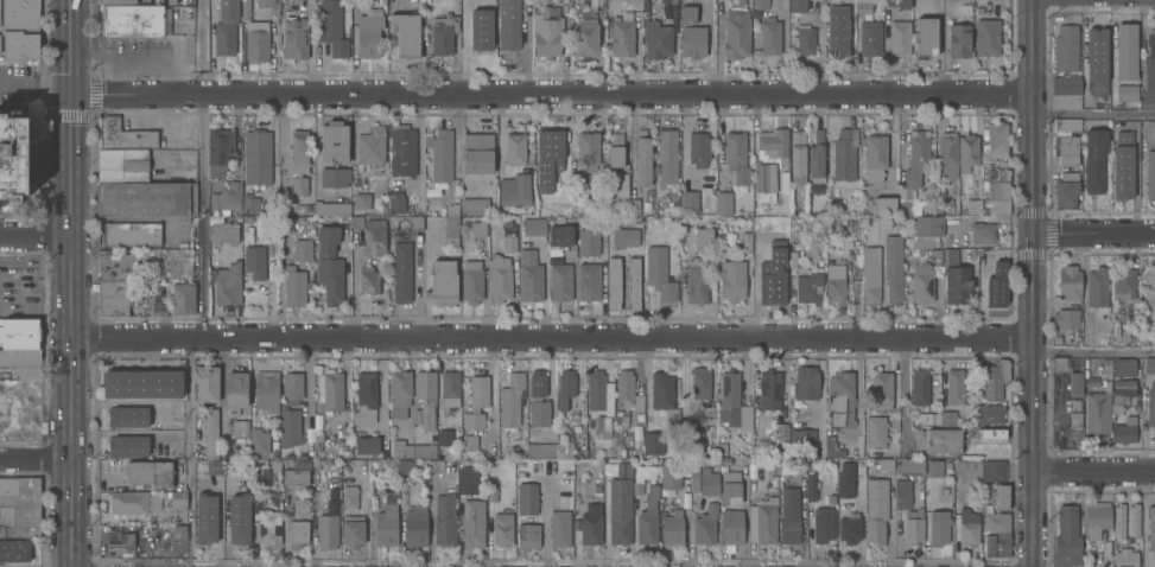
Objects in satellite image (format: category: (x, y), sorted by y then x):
building: (116, 1)
building: (453, 1)
building: (667, 1)
building: (189, 2)
building: (264, 4)
building: (760, 4)
building: (895, 4)
building: (797, 6)
building: (862, 7)
building: (964, 11)
building: (977, 13)
building: (686, 14)
building: (134, 21)
building: (508, 25)
building: (224, 27)
building: (331, 27)
building: (19, 30)
building: (481, 30)
building: (547, 32)
building: (837, 32)
building: (406, 34)
building: (736, 34)
building: (368, 36)
building: (443, 36)
building: (769, 37)
building: (294, 38)
building: (584, 38)
building: (925, 38)
building: (986, 38)
building: (621, 39)
building: (655, 39)
building: (869, 39)
building: (899, 39)
building: (805, 40)
building: (254, 42)
building: (692, 42)
building: (959, 42)
road: (1112, 45)
road: (70, 47)
road: (850, 47)
building: (1065, 49)
building: (1125, 51)
road: (1083, 58)
building: (1097, 60)
building: (1149, 63)
road: (36, 84)
building: (1066, 91)
building: (1125, 94)
road: (551, 95)
traffic signals: (71, 96)
building: (1147, 101)
road: (1092, 115)
building: (1065, 125)
building: (121, 135)
building: (1097, 140)
building: (334, 141)
building: (996, 141)
building: (773, 145)
building: (370, 146)
building: (551, 148)
building: (514, 149)
building: (698, 149)
building: (1065, 149)
building: (218, 151)
building: (401, 151)
building: (586, 151)
building: (615, 151)
building: (967, 152)
building: (476, 153)
building: (529, 153)
building: (797, 154)
building: (12, 155)
building: (816, 155)
building: (844, 155)
building: (947, 155)
building: (666, 157)
building: (256, 158)
building: (439, 158)
building: (736, 158)
building: (874, 158)
building: (642, 159)
building: (916, 159)
building: (298, 161)
building: (121, 166)
building: (1122, 173)
building: (1093, 176)
building: (1150, 176)
building: (335, 177)
building: (783, 181)
building: (763, 183)
building: (514, 191)
building: (1065, 191)
building: (226, 198)
building: (997, 198)
building: (142, 199)
building: (361, 202)
building: (688, 202)
building: (673, 203)
building: (723, 203)
building: (249, 204)
building: (395, 205)
building: (474, 205)
building: (265, 206)
building: (646, 206)
building: (882, 206)
building: (973, 206)
building: (302, 208)
building: (634, 208)
building: (906, 208)
building: (331, 209)
building: (984, 210)
building: (525, 212)
building: (356, 222)
building: (408, 223)
building: (857, 223)
building: (465, 225)
building: (927, 225)
building: (286, 227)
building: (533, 228)
building: (477, 229)
building: (451, 231)
building: (131, 234)
building: (222, 234)
building: (982, 234)
building: (819, 235)
road: (1092, 235)
building: (508, 236)
building: (559, 236)
building: (374, 237)
building: (623, 237)
building: (703, 238)
road: (36, 241)
building: (588, 242)
building: (922, 246)
building: (744, 247)
building: (302, 250)
building: (855, 255)
building: (929, 255)
building: (760, 256)
building: (254, 262)
building: (710, 262)
building: (793, 263)
building: (116, 267)
building: (328, 267)
building: (891, 268)
building: (401, 273)
building: (658, 274)
building: (870, 275)
building: (529, 278)
building: (954, 279)
building: (367, 280)
building: (500, 280)
building: (731, 281)
building: (470, 282)
building: (559, 282)
building: (588, 282)
building: (696, 282)
building: (834, 282)
road: (201, 283)
building: (442, 283)
building: (922, 283)
road: (1030, 283)
building: (1070, 283)
building: (227, 285)
building: (614, 285)
building: (633, 285)
building: (775, 285)
building: (1123, 285)
building: (996, 286)
building: (293, 287)
building: (1097, 287)
building: (808, 289)
road: (417, 291)
road: (355, 292)
building: (1149, 294)
building: (113, 298)
building: (182, 298)
building: (1067, 323)
road: (71, 331)
building: (19, 335)
road: (551, 338)
building: (1056, 340)
building: (1142, 343)
road: (1092, 356)
building: (20, 363)
building: (1064, 365)
building: (1149, 367)
building: (1123, 368)
building: (1106, 369)
building: (995, 380)
building: (699, 383)
building: (140, 384)
building: (205, 384)
building: (805, 384)
building: (1074, 384)
building: (954, 387)
building: (1106, 387)
building: (291, 388)
building: (399, 388)
building: (920, 388)
building: (564, 389)
building: (595, 390)
building: (768, 390)
building: (235, 391)
building: (329, 391)
building: (880, 391)
building: (627, 393)
building: (729, 394)
building: (1119, 395)
building: (262, 396)
building: (366, 396)
building: (449, 396)
building: (662, 396)
building: (791, 397)
building: (537, 400)
building: (424, 401)
building: (510, 401)
building: (839, 401)
building: (476, 403)
building: (1150, 404)
building: (1074, 406)
building: (986, 414)
building: (1097, 414)
building: (127, 418)
building: (620, 418)
building: (920, 419)
building: (947, 419)
building: (1074, 420)
building: (278, 421)
building: (602, 423)
building: (288, 427)
building: (239, 429)
building: (1124, 431)
building: (781, 432)
building: (209, 433)
building: (687, 433)
building: (875, 433)
building: (991, 434)
building: (558, 438)
building: (802, 439)
building: (258, 441)
building: (943, 441)
building: (445, 442)
building: (469, 442)
building: (653, 444)
building: (618, 445)
building: (127, 446)
building: (782, 446)
building: (362, 447)
building: (570, 448)
building: (761, 450)
building: (832, 450)
building: (408, 451)
building: (541, 451)
building: (635, 453)
building: (781, 453)
road: (36, 461)
building: (374, 463)
building: (315, 464)
building: (423, 464)
building: (773, 464)
building: (886, 465)
building: (910, 466)
building: (212, 467)
building: (405, 467)
building: (791, 467)
building: (434, 469)
building: (933, 469)
building: (967, 469)
building: (623, 471)
building: (992, 471)
road: (1093, 471)
building: (148, 473)
building: (259, 473)
building: (669, 476)
building: (641, 477)
building: (294, 478)
building: (704, 483)
building: (729, 488)
building: (596, 489)
building: (811, 490)
building: (843, 490)
building: (332, 493)
building: (348, 495)
building: (490, 495)
building: (901, 495)
building: (526, 499)
building: (176, 501)
building: (123, 505)
building: (20, 507)
building: (299, 507)
building: (470, 508)
building: (875, 510)
building: (618, 511)
building: (788, 516)
building: (205, 518)
building: (237, 518)
building: (647, 518)
building: (443, 520)
building: (1096, 520)
building: (1132, 521)
building: (762, 522)
building: (1118, 522)
building: (589, 523)
building: (996, 523)
building: (386, 524)
building: (821, 524)
building: (704, 525)
building: (268, 527)
building: (730, 527)
building: (967, 527)
building: (326, 528)
building: (414, 528)
building: (672, 528)
building: (913, 528)
building: (938, 528)
building: (1150, 528)
building: (501, 529)
building: (558, 529)
building: (849, 529)
building: (351, 531)
building: (296, 535)
building: (527, 536)
building: (1066, 537)
building: (177, 539)
building: (121, 543)
building: (14, 550)
building: (1124, 558)

